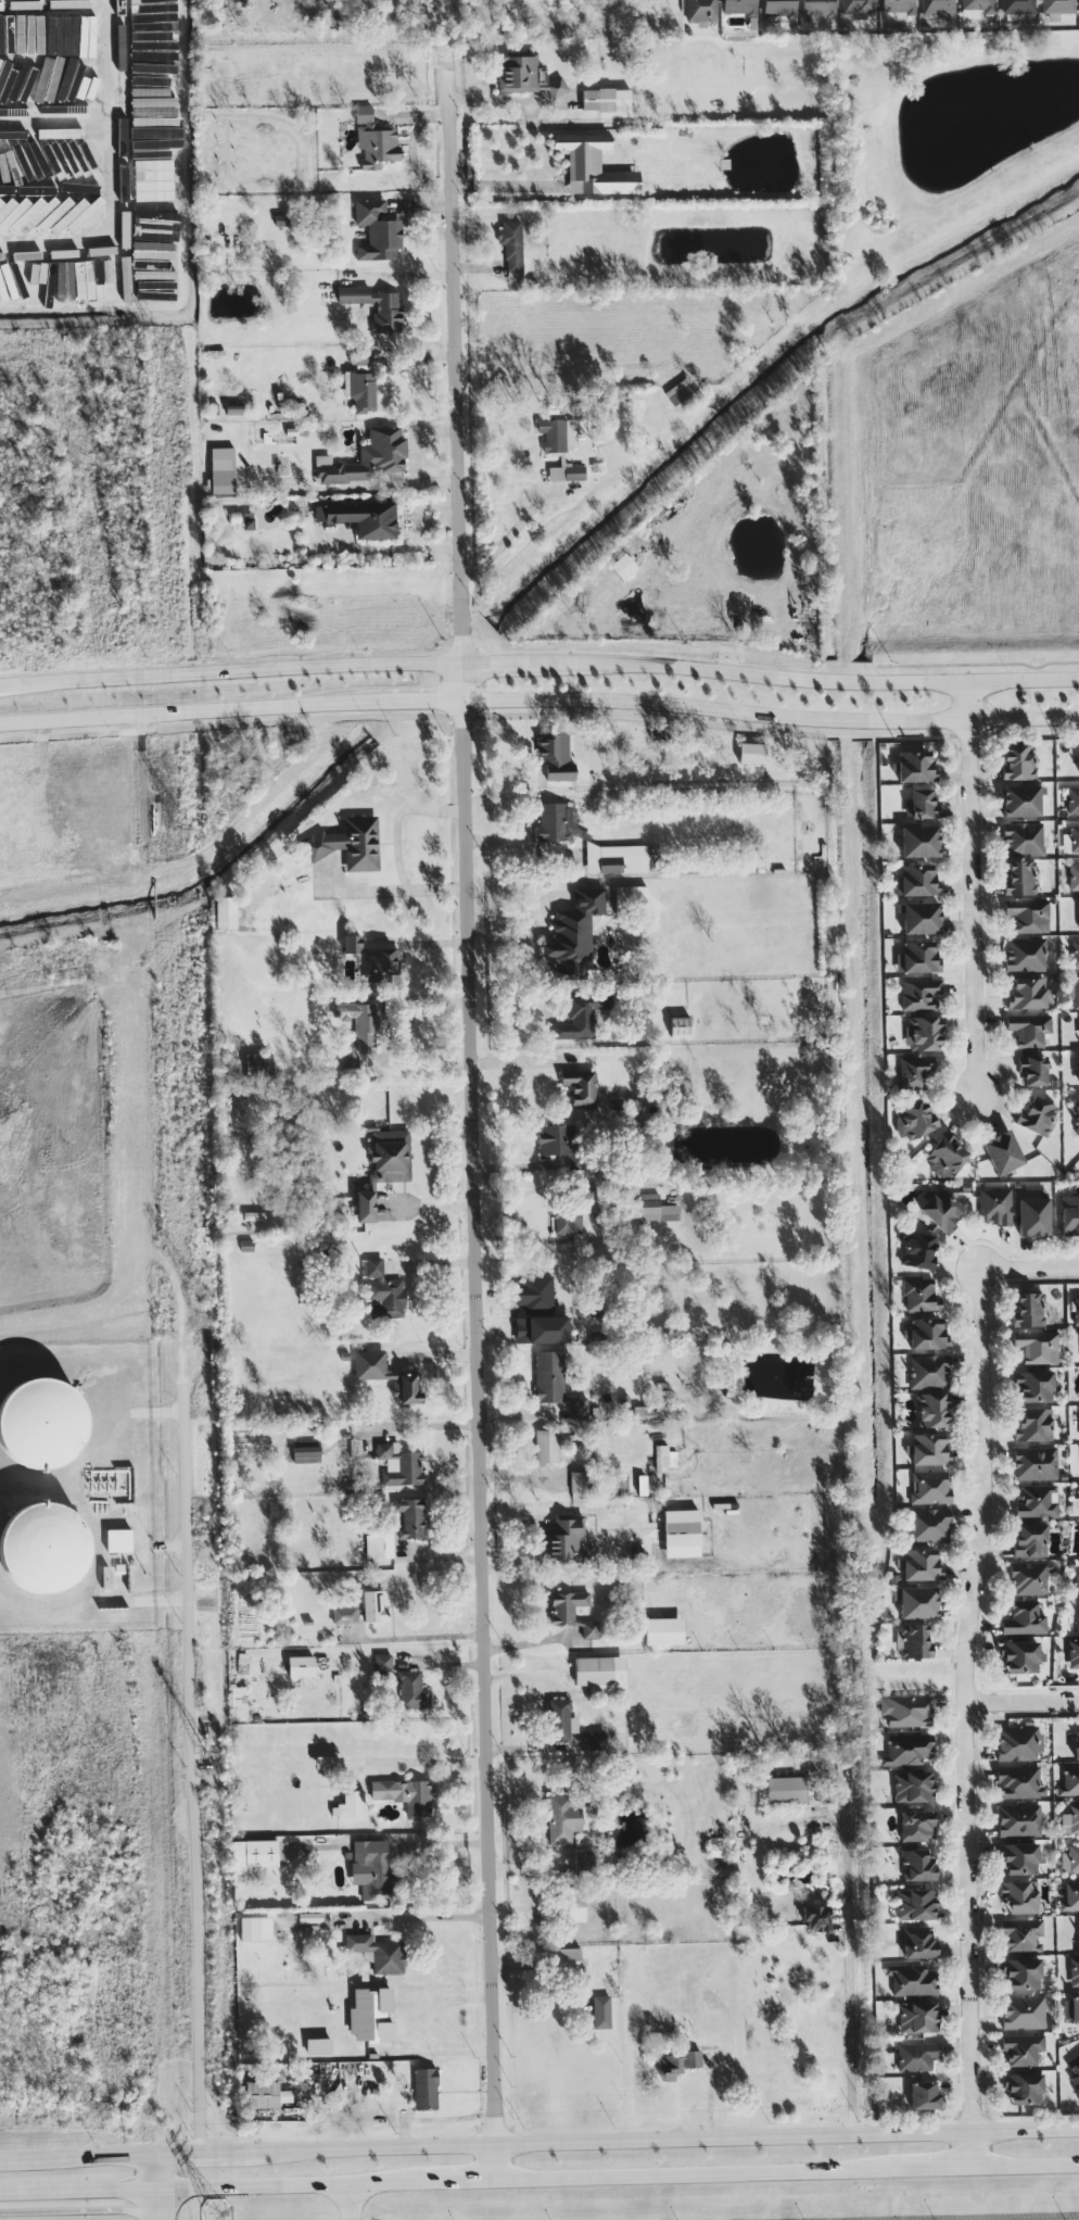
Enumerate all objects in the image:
building: (979, 4)
building: (739, 5)
building: (898, 5)
building: (1057, 5)
building: (817, 7)
building: (1017, 7)
building: (778, 8)
building: (859, 8)
building: (939, 9)
building: (700, 10)
building: (120, 21)
building: (30, 34)
building: (62, 61)
building: (524, 76)
building: (155, 85)
building: (606, 98)
building: (5, 110)
building: (152, 115)
building: (122, 129)
building: (58, 130)
building: (13, 131)
building: (375, 139)
building: (154, 140)
building: (593, 165)
building: (154, 177)
building: (122, 179)
road: (116, 182)
road: (498, 189)
building: (16, 192)
building: (59, 209)
building: (24, 211)
building: (76, 214)
building: (154, 220)
building: (377, 229)
building: (152, 249)
building: (511, 249)
building: (101, 250)
building: (125, 269)
building: (37, 272)
building: (170, 278)
building: (68, 280)
building: (111, 280)
building: (375, 305)
power tower: (175, 367)
building: (360, 389)
building: (682, 393)
building: (557, 433)
building: (366, 458)
building: (223, 469)
building: (566, 471)
building: (361, 517)
road: (504, 545)
building: (623, 566)
road: (503, 664)
road: (229, 669)
road: (811, 679)
road: (419, 702)
road: (189, 712)
road: (770, 715)
building: (751, 753)
building: (555, 756)
building: (1017, 760)
building: (915, 766)
building: (1020, 799)
building: (1072, 799)
building: (921, 803)
building: (556, 821)
road: (402, 827)
power tower: (187, 829)
building: (1023, 837)
building: (1074, 837)
building: (919, 841)
building: (348, 843)
building: (623, 858)
building: (1074, 875)
building: (1020, 878)
building: (915, 880)
road: (974, 891)
road: (373, 897)
building: (631, 898)
building: (1078, 910)
building: (223, 911)
building: (1028, 915)
building: (919, 917)
building: (352, 944)
building: (1075, 953)
building: (1025, 954)
building: (916, 957)
building: (382, 960)
building: (1076, 991)
building: (1026, 993)
building: (919, 994)
building: (581, 1016)
building: (1028, 1029)
building: (357, 1030)
road: (384, 1031)
building: (923, 1033)
building: (1078, 1067)
building: (1032, 1069)
building: (913, 1072)
building: (580, 1085)
road: (470, 1112)
building: (1037, 1113)
building: (1075, 1114)
building: (913, 1120)
building: (560, 1141)
building: (1002, 1151)
building: (945, 1155)
building: (384, 1166)
building: (995, 1206)
building: (940, 1209)
building: (1069, 1214)
building: (1033, 1215)
building: (567, 1219)
building: (917, 1249)
road: (1029, 1265)
building: (382, 1289)
building: (536, 1290)
building: (919, 1295)
power tower: (194, 1298)
building: (1029, 1308)
building: (1076, 1309)
building: (541, 1328)
building: (926, 1333)
building: (1037, 1346)
building: (929, 1371)
building: (388, 1375)
building: (548, 1376)
building: (1034, 1385)
building: (579, 1405)
building: (931, 1409)
building: (41, 1423)
building: (1032, 1424)
road: (431, 1428)
building: (546, 1447)
building: (927, 1448)
building: (306, 1453)
building: (664, 1458)
building: (1036, 1462)
building: (399, 1464)
building: (577, 1484)
building: (929, 1487)
building: (1078, 1498)
building: (1037, 1500)
building: (409, 1517)
building: (929, 1524)
building: (681, 1532)
building: (564, 1538)
building: (118, 1539)
building: (1030, 1539)
building: (379, 1546)
building: (42, 1547)
road: (421, 1560)
building: (919, 1564)
building: (1029, 1577)
building: (1077, 1581)
building: (916, 1601)
building: (373, 1605)
building: (1078, 1610)
building: (571, 1611)
building: (344, 1614)
building: (1024, 1617)
building: (663, 1630)
road: (467, 1640)
building: (914, 1640)
building: (1072, 1653)
building: (1020, 1655)
building: (382, 1662)
building: (300, 1665)
building: (600, 1674)
road: (495, 1679)
building: (411, 1690)
road: (1025, 1700)
building: (239, 1703)
building: (906, 1710)
road: (970, 1713)
building: (560, 1719)
building: (1016, 1742)
building: (1076, 1743)
building: (907, 1749)
road: (471, 1761)
road: (192, 1771)
building: (1069, 1780)
building: (1018, 1781)
building: (912, 1786)
building: (786, 1789)
building: (404, 1793)
building: (350, 1804)
building: (1074, 1817)
building: (1019, 1819)
building: (916, 1825)
building: (562, 1829)
building: (716, 1849)
road: (439, 1850)
building: (254, 1852)
building: (1074, 1856)
building: (1019, 1857)
building: (917, 1865)
road: (513, 1869)
building: (370, 1870)
building: (1019, 1895)
building: (1070, 1895)
building: (915, 1904)
building: (576, 1907)
building: (816, 1916)
road: (372, 1920)
building: (255, 1928)
building: (1078, 1931)
building: (1021, 1934)
building: (918, 1941)
building: (378, 1952)
building: (567, 1959)
building: (1074, 1970)
building: (1021, 1973)
road: (848, 1976)
building: (912, 1979)
building: (1070, 2008)
building: (600, 2010)
building: (1023, 2011)
building: (371, 2015)
building: (917, 2017)
building: (318, 2045)
building: (1020, 2048)
building: (915, 2055)
road: (442, 2057)
building: (693, 2058)
building: (669, 2066)
building: (1074, 2069)
building: (424, 2087)
building: (1023, 2087)
building: (265, 2094)
building: (923, 2094)
road: (651, 2150)
road: (192, 2162)
road: (1027, 2162)
road: (79, 2165)
road: (934, 2165)
road: (695, 2174)
road: (460, 2183)
road: (370, 2189)
road: (212, 2190)
road: (160, 2191)
road: (76, 2209)
power tower: (215, 2211)

